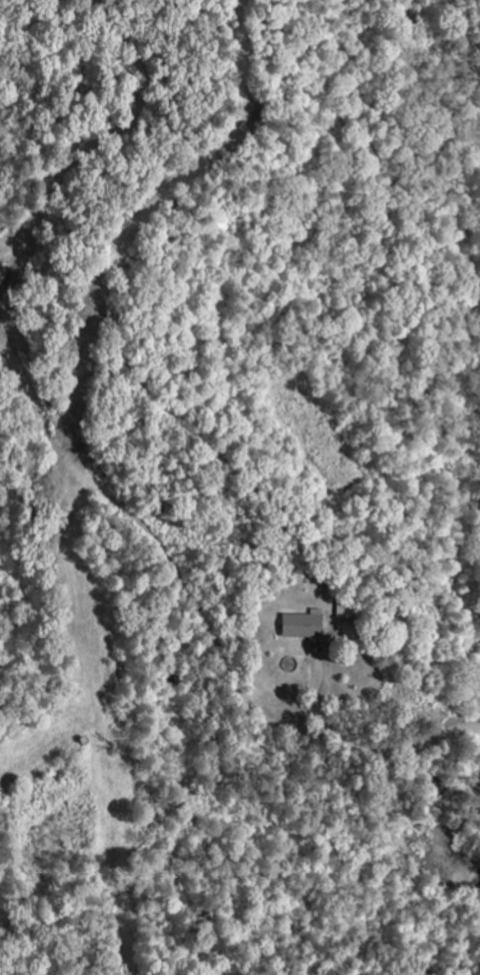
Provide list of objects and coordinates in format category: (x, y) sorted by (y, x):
building: (3, 271)
building: (304, 625)

